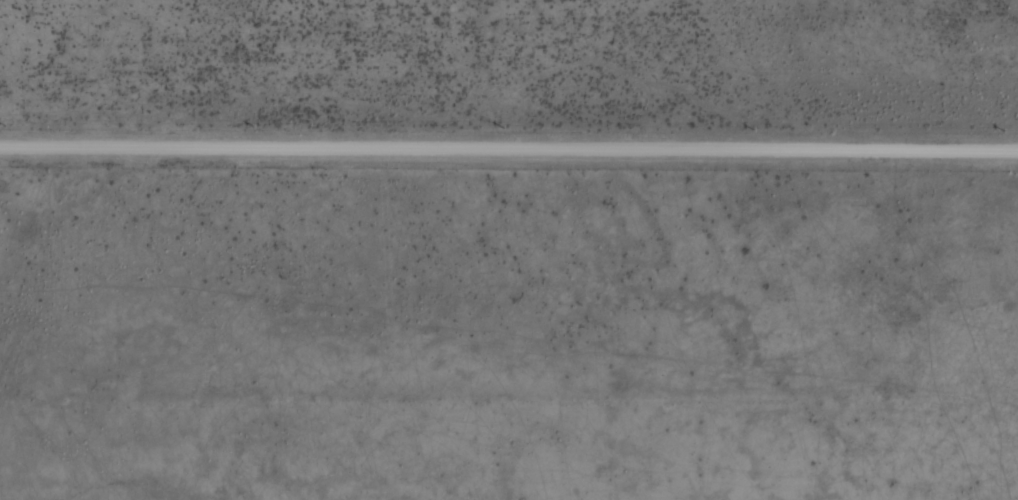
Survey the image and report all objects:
road: (509, 146)

